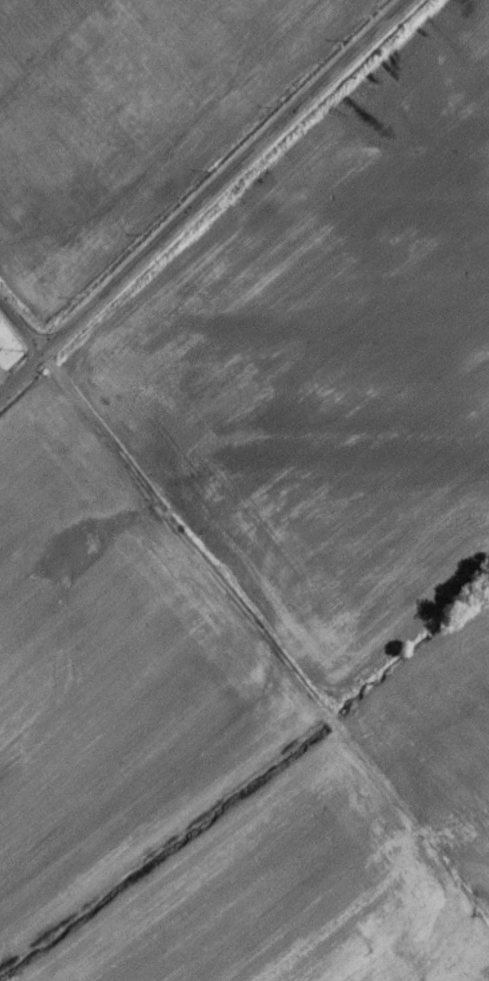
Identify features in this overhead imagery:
road: (223, 177)
road: (21, 329)
road: (21, 374)
road: (265, 651)

